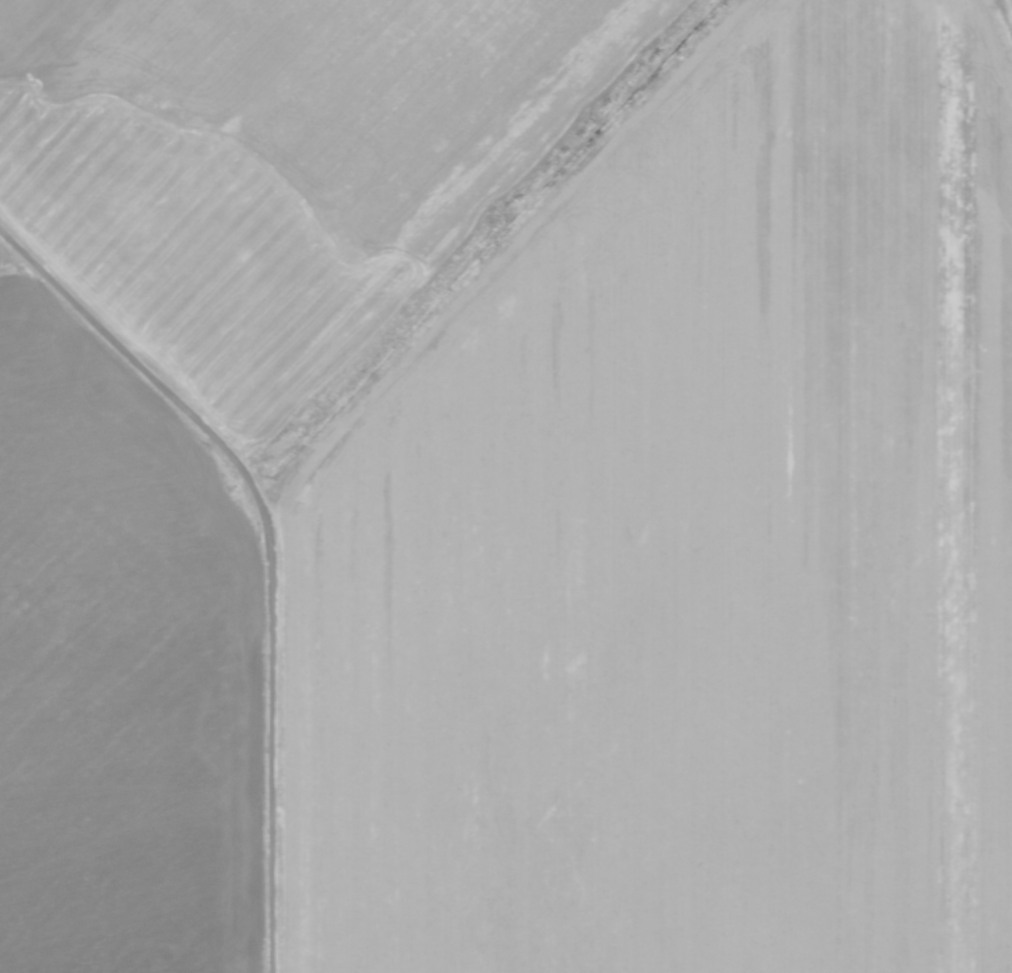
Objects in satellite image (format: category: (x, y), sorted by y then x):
road: (261, 547)

